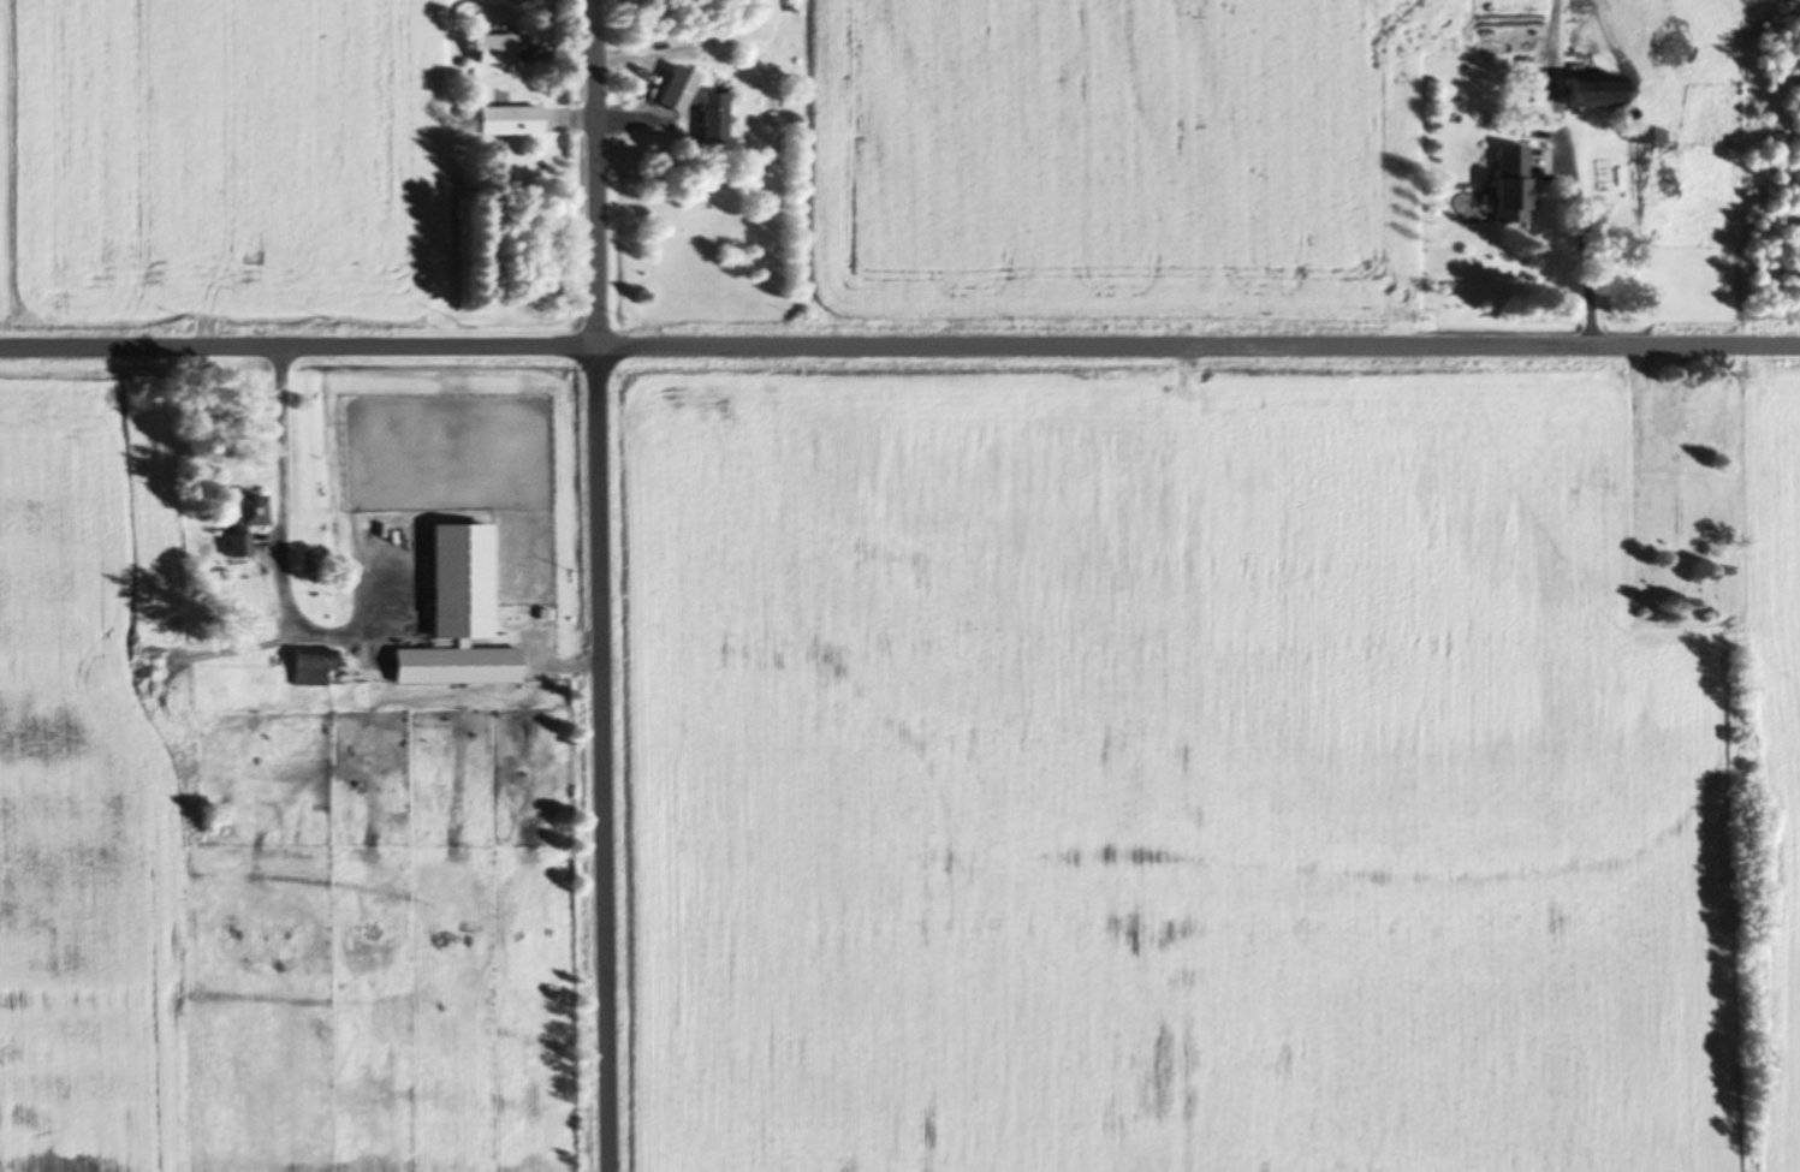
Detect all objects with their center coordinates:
building: (489, 46)
building: (673, 88)
building: (1586, 90)
building: (711, 117)
building: (505, 118)
building: (1509, 183)
road: (899, 346)
building: (239, 516)
road: (284, 537)
building: (456, 577)
road: (599, 585)
building: (308, 664)
building: (452, 664)

